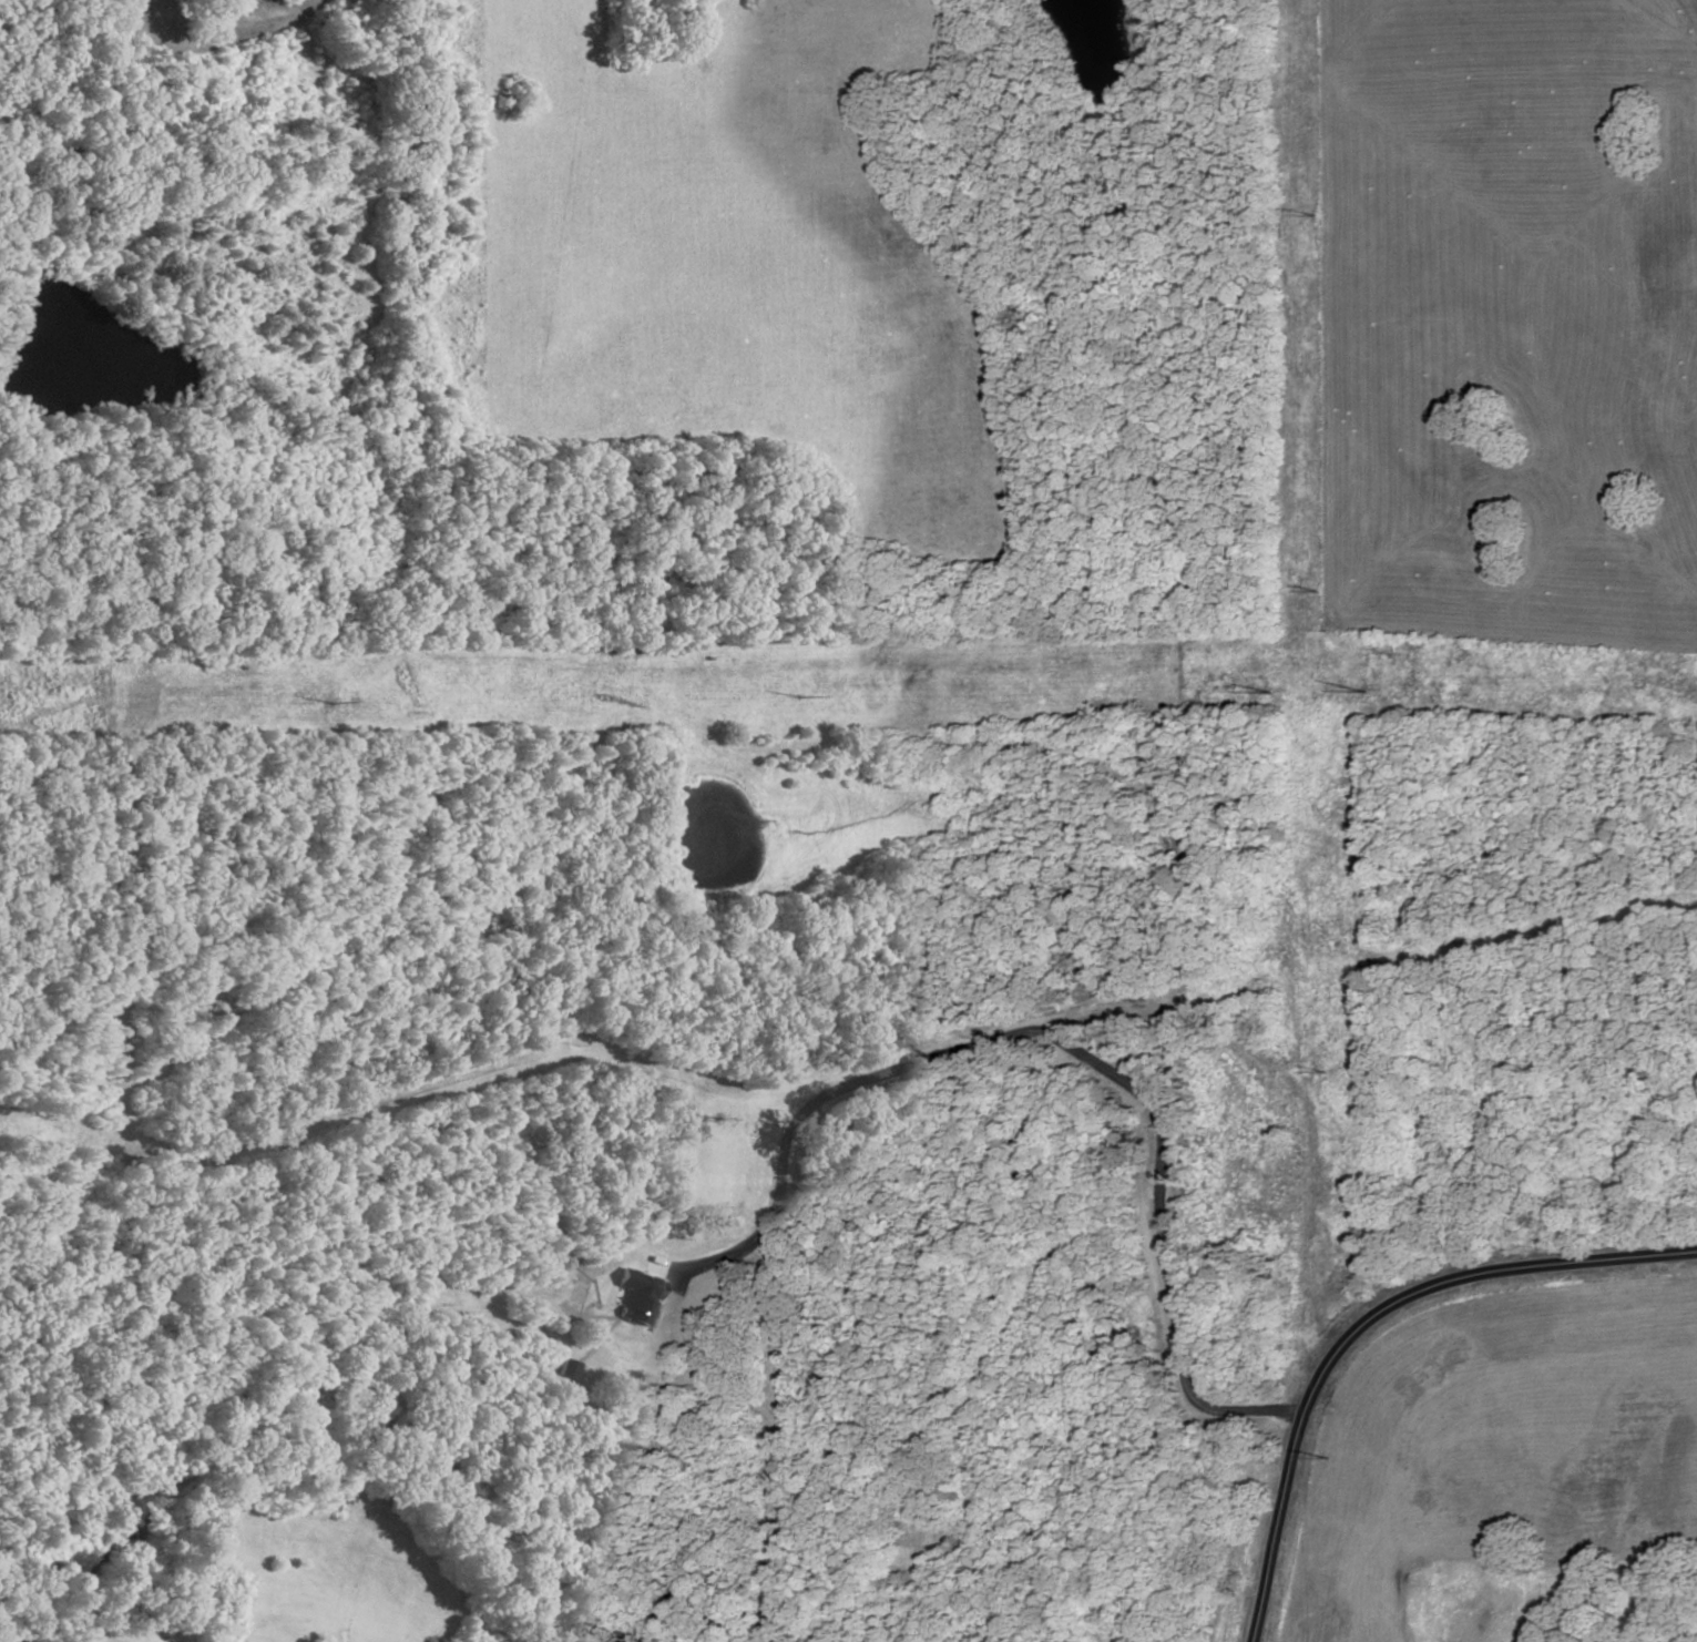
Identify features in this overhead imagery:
power tower: (1319, 213)
power tower: (1323, 590)
power tower: (1326, 1071)
building: (638, 1296)
road: (1367, 1324)
building: (568, 1369)
power tower: (1328, 1450)

